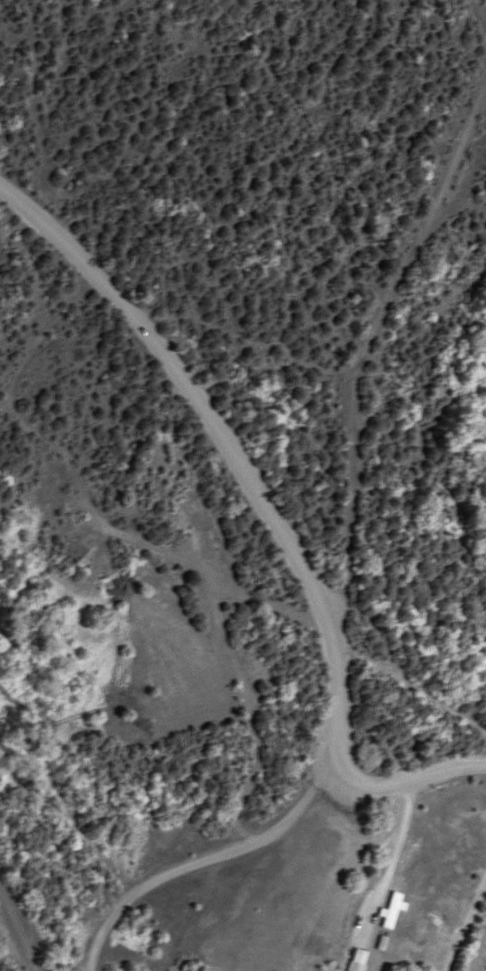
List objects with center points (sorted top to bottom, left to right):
road: (268, 516)
road: (466, 925)

